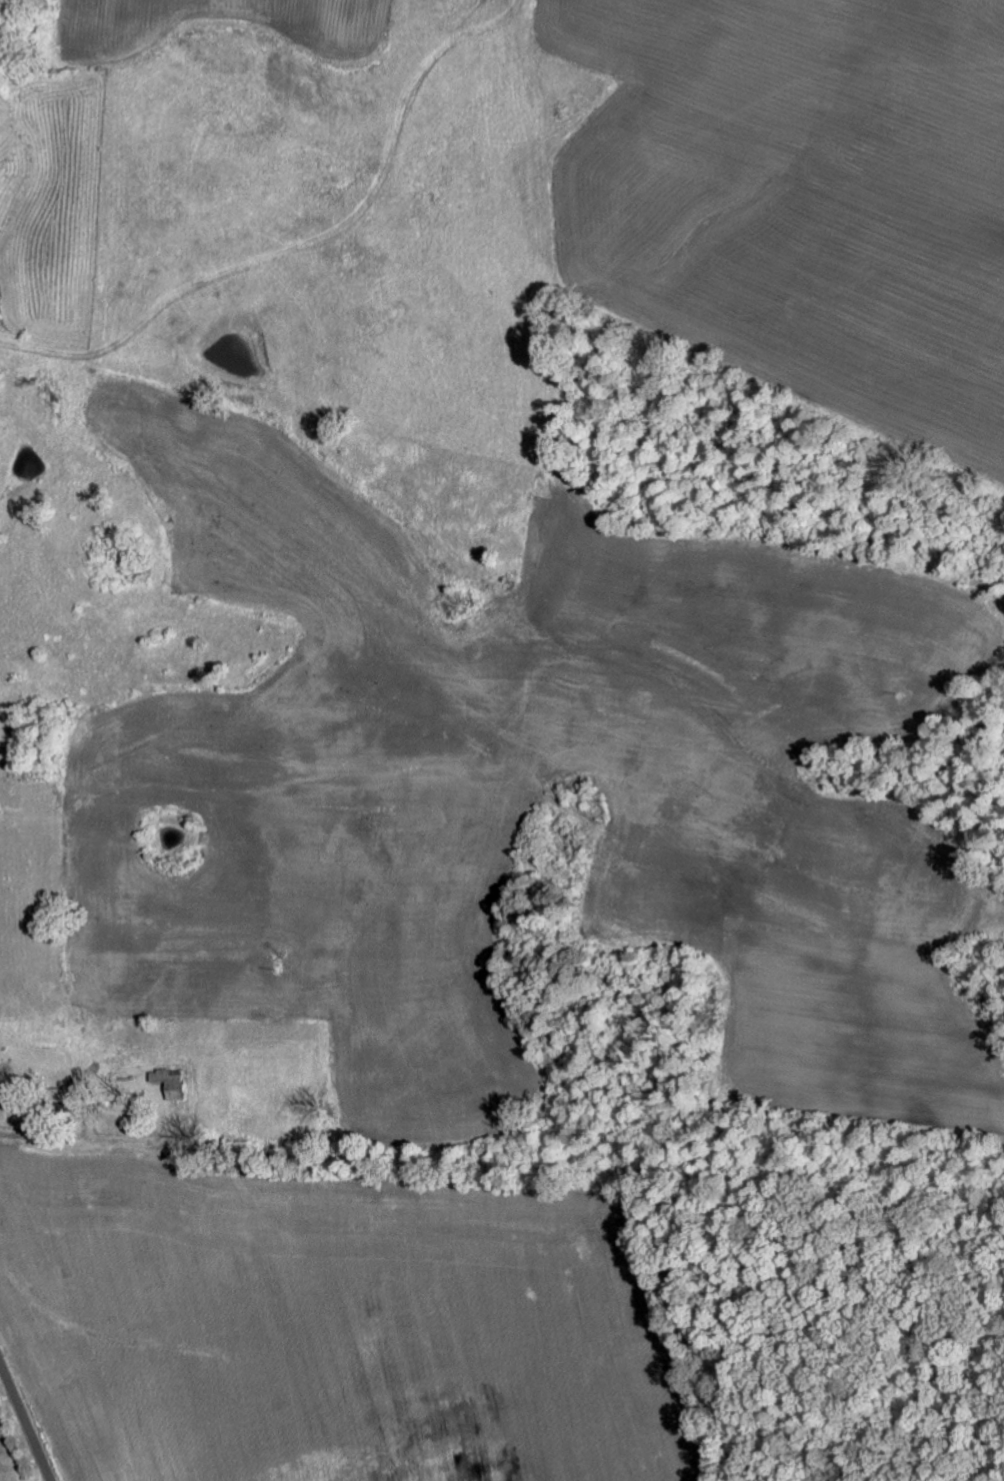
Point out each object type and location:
building: (1, 93)
road: (84, 773)
road: (25, 1420)
road: (13, 1421)

